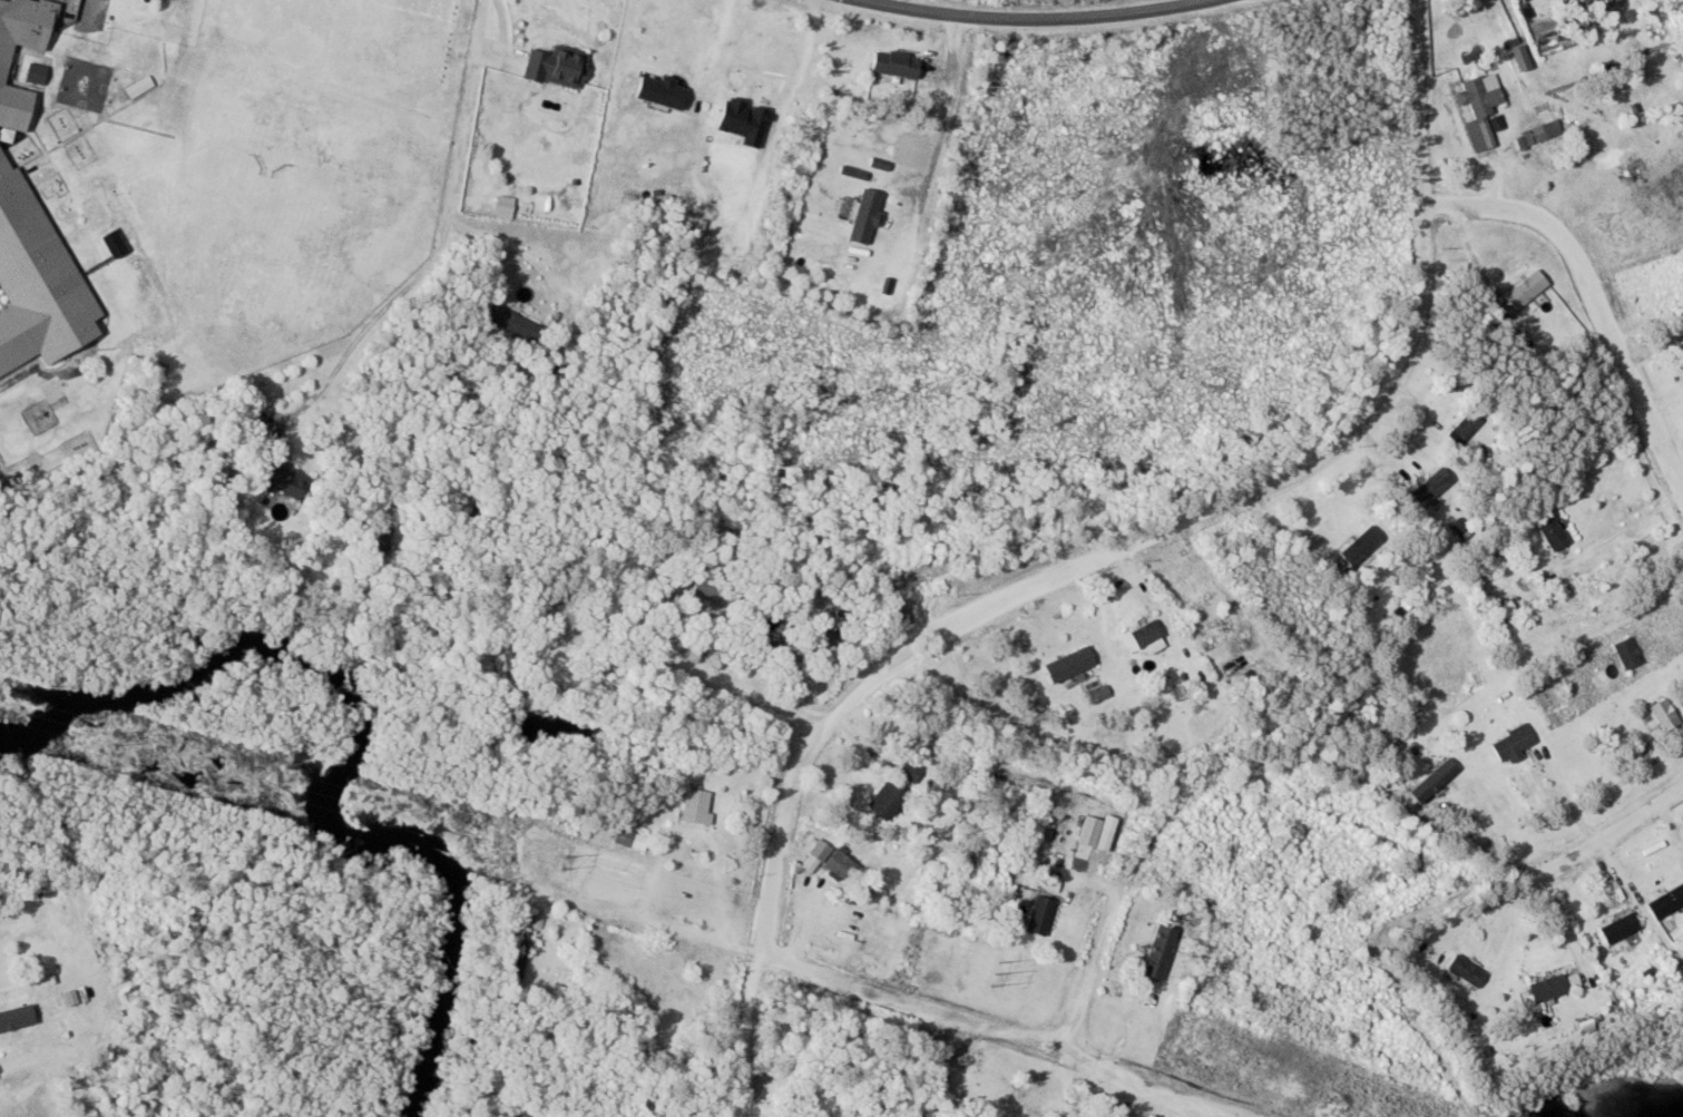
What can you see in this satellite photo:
road: (1027, 17)
building: (902, 66)
building: (2, 70)
building: (1480, 98)
building: (1538, 135)
road: (928, 184)
building: (95, 210)
road: (448, 236)
building: (37, 282)
building: (1525, 290)
road: (1601, 294)
building: (154, 313)
building: (509, 322)
building: (1682, 349)
building: (1462, 429)
building: (285, 479)
building: (1430, 487)
building: (1549, 531)
building: (379, 539)
building: (1360, 546)
road: (1100, 561)
building: (1213, 629)
building: (1145, 634)
building: (1626, 654)
road: (593, 664)
building: (1068, 665)
road: (752, 692)
building: (1099, 694)
building: (546, 709)
building: (1663, 715)
power tower: (117, 741)
building: (1511, 744)
building: (908, 773)
building: (1434, 781)
road: (1563, 794)
building: (885, 802)
building: (695, 807)
road: (1614, 823)
building: (630, 837)
road: (1483, 851)
power tower: (565, 862)
building: (840, 868)
building: (1665, 902)
road: (1493, 904)
building: (1038, 915)
road: (1562, 919)
building: (1618, 929)
building: (1157, 952)
building: (519, 957)
road: (1086, 958)
building: (1465, 971)
power tower: (996, 974)
building: (1555, 987)
road: (891, 996)
building: (19, 1012)
road: (19, 1065)
building: (530, 1110)
road: (1209, 1111)
building: (1089, 1116)

